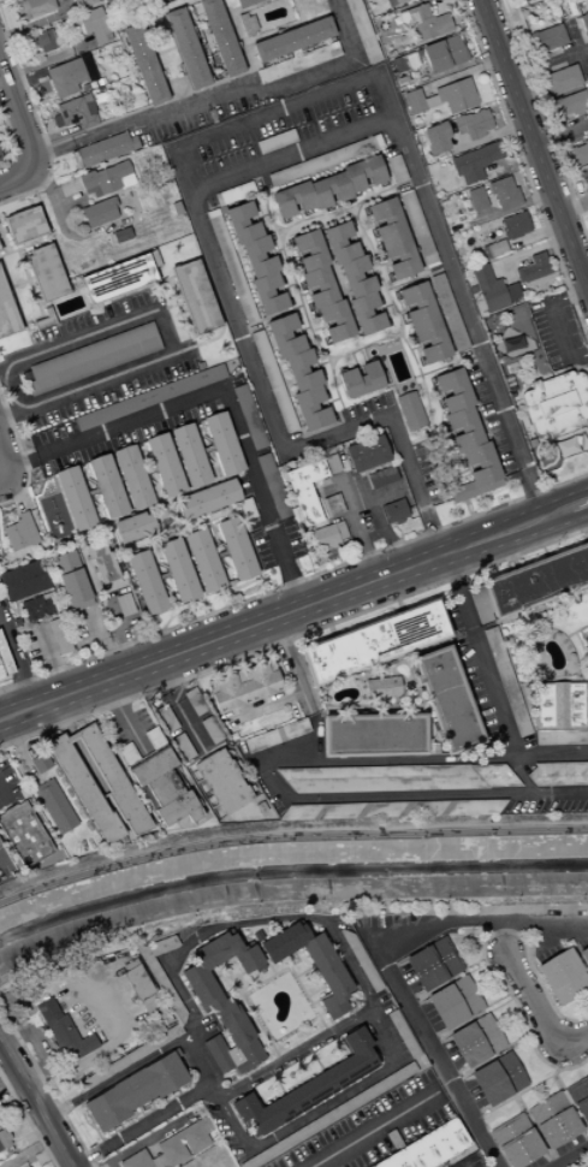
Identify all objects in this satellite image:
building: (100, 0)
building: (522, 0)
building: (397, 1)
road: (432, 1)
building: (83, 2)
building: (244, 2)
building: (388, 2)
building: (35, 7)
building: (400, 18)
building: (424, 23)
building: (583, 23)
building: (77, 24)
building: (95, 24)
building: (247, 24)
road: (18, 29)
building: (361, 30)
building: (221, 36)
road: (572, 37)
building: (295, 38)
building: (545, 38)
building: (46, 40)
building: (188, 48)
building: (443, 53)
road: (48, 60)
road: (547, 60)
building: (297, 63)
building: (145, 64)
road: (452, 66)
road: (458, 75)
building: (66, 77)
building: (559, 78)
road: (2, 79)
road: (25, 79)
road: (221, 91)
building: (455, 94)
building: (412, 101)
building: (88, 103)
building: (569, 103)
road: (274, 108)
building: (73, 113)
road: (8, 115)
road: (18, 117)
road: (495, 119)
road: (542, 122)
building: (471, 124)
road: (37, 125)
building: (67, 125)
road: (11, 128)
road: (559, 131)
road: (53, 134)
road: (11, 138)
building: (433, 138)
road: (482, 138)
building: (275, 141)
road: (533, 146)
building: (103, 149)
building: (578, 152)
road: (291, 153)
building: (0, 159)
building: (322, 160)
building: (474, 161)
building: (394, 168)
road: (524, 170)
building: (361, 173)
road: (14, 177)
building: (105, 178)
building: (126, 180)
building: (326, 190)
building: (232, 192)
building: (503, 192)
building: (290, 199)
building: (475, 199)
road: (572, 207)
road: (509, 209)
building: (100, 212)
road: (348, 213)
road: (261, 215)
road: (269, 219)
building: (239, 223)
building: (24, 225)
building: (512, 225)
road: (278, 226)
building: (417, 229)
road: (2, 230)
road: (65, 232)
building: (121, 235)
road: (533, 235)
building: (391, 238)
road: (4, 242)
building: (441, 242)
building: (338, 243)
road: (20, 247)
building: (495, 248)
building: (307, 250)
road: (523, 253)
building: (255, 257)
road: (290, 257)
road: (582, 265)
road: (287, 266)
building: (231, 267)
building: (533, 267)
building: (46, 273)
building: (516, 274)
building: (354, 277)
building: (119, 279)
road: (540, 279)
road: (25, 280)
road: (12, 285)
road: (287, 285)
road: (16, 286)
building: (316, 286)
building: (487, 289)
building: (510, 291)
road: (129, 292)
road: (32, 294)
building: (265, 294)
road: (302, 294)
road: (459, 295)
building: (195, 297)
road: (14, 301)
road: (43, 304)
road: (166, 307)
building: (447, 312)
building: (7, 313)
road: (179, 313)
road: (497, 313)
building: (363, 314)
parking lot: (94, 315)
road: (269, 318)
building: (44, 320)
road: (559, 320)
building: (332, 321)
road: (529, 321)
building: (421, 322)
road: (303, 328)
road: (317, 328)
road: (525, 328)
road: (164, 331)
building: (281, 336)
road: (78, 337)
road: (404, 343)
building: (510, 344)
road: (415, 346)
road: (534, 349)
building: (93, 359)
road: (354, 359)
road: (321, 362)
road: (328, 362)
building: (298, 371)
road: (106, 377)
road: (332, 380)
building: (357, 380)
building: (273, 381)
road: (392, 381)
road: (220, 386)
road: (11, 387)
building: (450, 391)
parking lot: (113, 392)
building: (150, 397)
road: (435, 397)
building: (554, 404)
building: (308, 408)
road: (422, 408)
building: (408, 410)
building: (249, 416)
road: (272, 425)
building: (461, 427)
road: (415, 430)
parking lot: (52, 433)
road: (446, 434)
road: (207, 439)
building: (225, 444)
building: (564, 448)
road: (208, 449)
building: (368, 452)
building: (190, 455)
road: (20, 458)
road: (206, 458)
road: (149, 461)
building: (403, 461)
building: (166, 463)
building: (332, 463)
road: (147, 467)
road: (465, 469)
road: (150, 470)
building: (476, 473)
building: (133, 475)
building: (381, 476)
road: (148, 480)
road: (91, 482)
building: (108, 485)
building: (273, 486)
building: (307, 488)
road: (14, 492)
road: (93, 492)
road: (91, 494)
building: (76, 497)
building: (209, 498)
road: (156, 500)
road: (90, 502)
building: (333, 504)
road: (578, 505)
road: (467, 508)
building: (396, 511)
building: (54, 516)
road: (380, 517)
road: (242, 520)
road: (190, 521)
building: (135, 526)
road: (355, 527)
road: (189, 529)
building: (20, 532)
building: (325, 535)
road: (219, 545)
building: (236, 549)
road: (544, 551)
road: (221, 555)
building: (206, 559)
building: (102, 561)
road: (222, 561)
building: (66, 562)
road: (220, 563)
road: (162, 565)
road: (160, 569)
building: (180, 570)
road: (164, 575)
building: (24, 580)
building: (148, 581)
building: (537, 581)
road: (293, 582)
road: (161, 585)
building: (76, 586)
road: (204, 603)
building: (481, 604)
building: (82, 605)
building: (36, 608)
road: (284, 614)
road: (183, 615)
road: (167, 621)
road: (331, 630)
building: (60, 635)
road: (293, 636)
building: (378, 642)
road: (100, 644)
road: (479, 657)
road: (51, 658)
building: (5, 659)
road: (17, 663)
road: (290, 665)
building: (507, 681)
building: (244, 686)
building: (384, 687)
building: (450, 699)
building: (195, 701)
road: (262, 705)
building: (562, 705)
road: (178, 709)
road: (124, 718)
building: (167, 719)
building: (212, 729)
building: (378, 734)
building: (278, 735)
building: (562, 736)
building: (184, 747)
road: (17, 750)
road: (424, 759)
building: (40, 762)
building: (560, 774)
building: (497, 775)
road: (519, 775)
building: (158, 776)
building: (381, 778)
building: (222, 780)
building: (114, 781)
building: (84, 792)
road: (415, 795)
road: (1, 799)
building: (55, 806)
building: (469, 807)
building: (178, 808)
building: (360, 811)
building: (24, 834)
road: (289, 836)
building: (0, 842)
road: (1, 858)
road: (315, 918)
road: (503, 937)
road: (544, 940)
road: (379, 952)
building: (227, 954)
road: (481, 955)
building: (584, 955)
building: (361, 960)
building: (314, 964)
building: (434, 964)
road: (269, 967)
road: (304, 971)
road: (224, 972)
building: (162, 975)
road: (273, 975)
road: (237, 976)
road: (261, 977)
building: (564, 977)
road: (315, 991)
building: (148, 997)
road: (320, 999)
road: (308, 1000)
building: (456, 1002)
road: (537, 1011)
road: (247, 1012)
road: (321, 1013)
road: (254, 1017)
road: (314, 1017)
building: (226, 1018)
road: (315, 1019)
building: (64, 1032)
building: (403, 1035)
building: (477, 1041)
road: (271, 1042)
road: (263, 1044)
building: (219, 1054)
road: (296, 1054)
building: (234, 1056)
building: (131, 1058)
road: (195, 1062)
road: (8, 1077)
building: (499, 1079)
building: (313, 1086)
building: (417, 1086)
road: (46, 1088)
building: (136, 1090)
road: (516, 1095)
building: (580, 1097)
road: (36, 1103)
building: (329, 1116)
road: (26, 1121)
building: (554, 1121)
building: (206, 1124)
road: (141, 1126)
building: (414, 1126)
road: (373, 1129)
road: (30, 1135)
road: (150, 1138)
building: (393, 1138)
building: (4, 1139)
building: (517, 1142)
building: (183, 1143)
building: (429, 1147)
building: (364, 1155)
road: (569, 1155)
building: (136, 1160)
building: (159, 1161)
road: (459, 1163)
building: (22, 1165)

